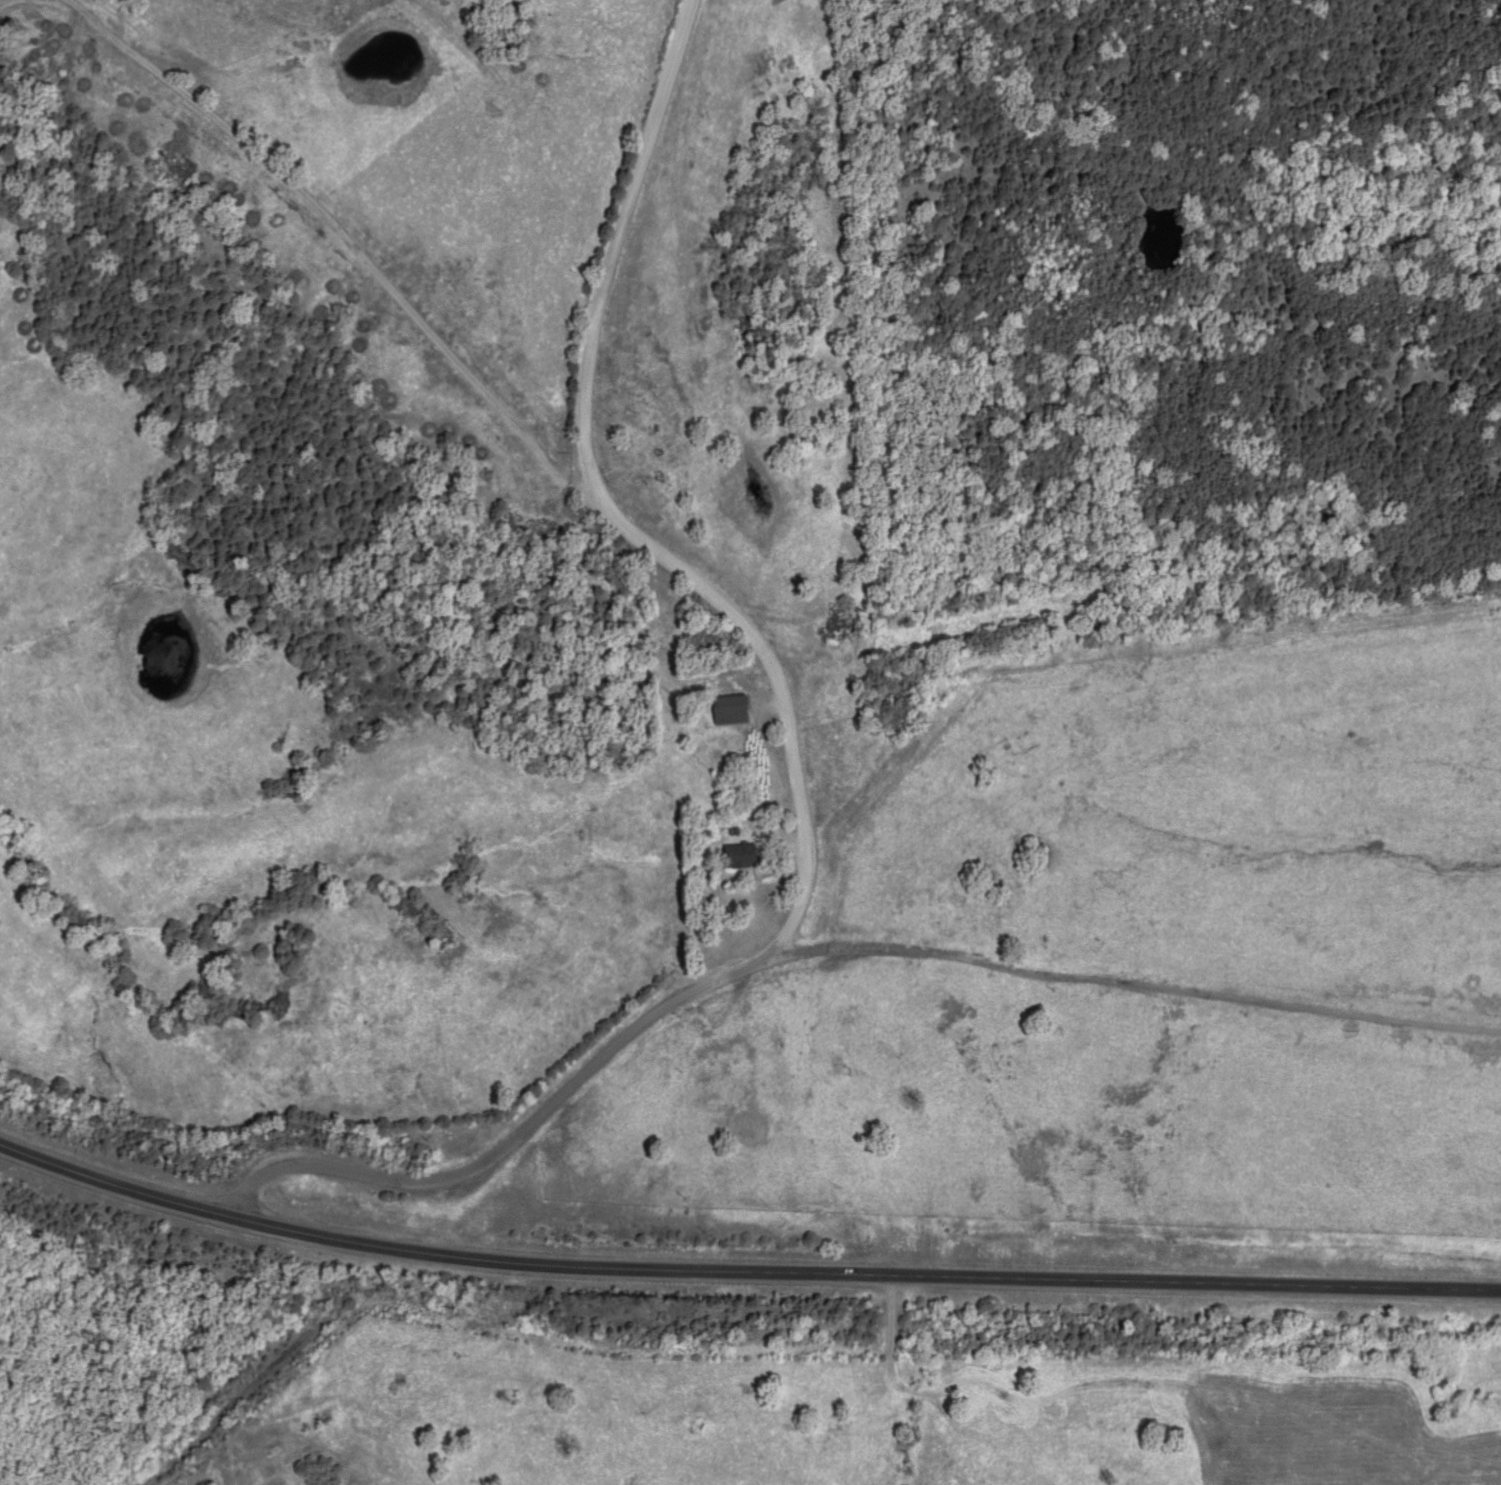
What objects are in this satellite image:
road: (624, 238)
building: (734, 712)
building: (744, 858)
road: (739, 963)
road: (743, 1263)
road: (299, 1389)

